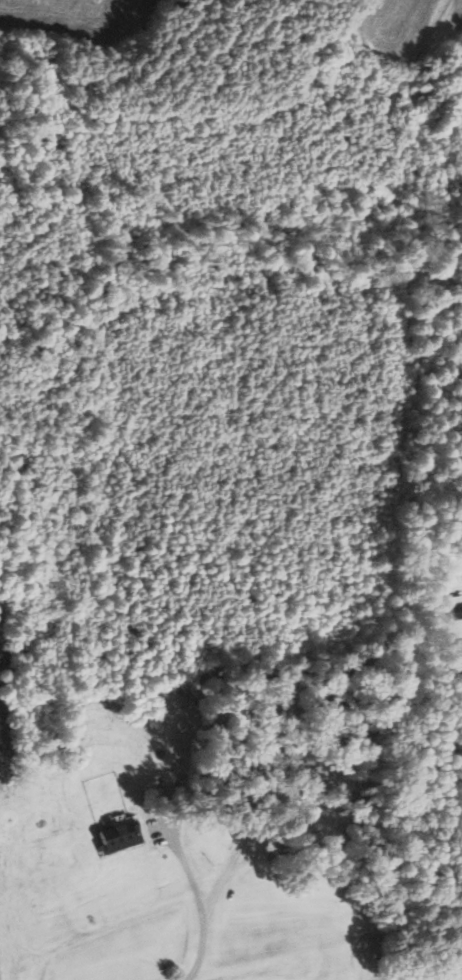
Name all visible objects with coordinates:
building: (300, 761)
road: (279, 800)
building: (122, 837)
road: (198, 903)

